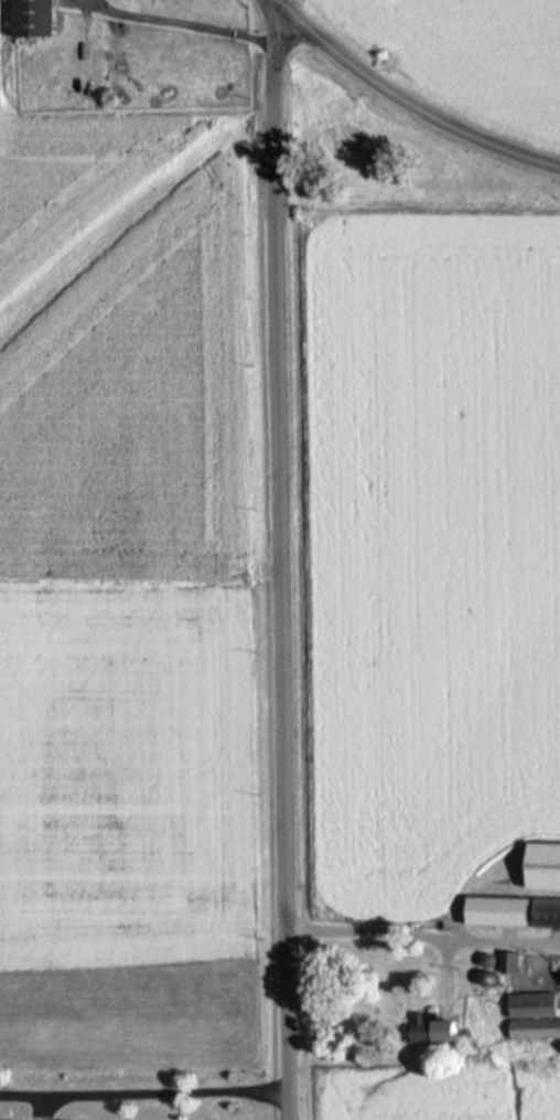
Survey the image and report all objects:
building: (28, 18)
road: (403, 105)
road: (279, 564)
building: (491, 909)
building: (542, 910)
building: (559, 980)
building: (529, 1015)
building: (426, 1026)
road: (143, 1100)

